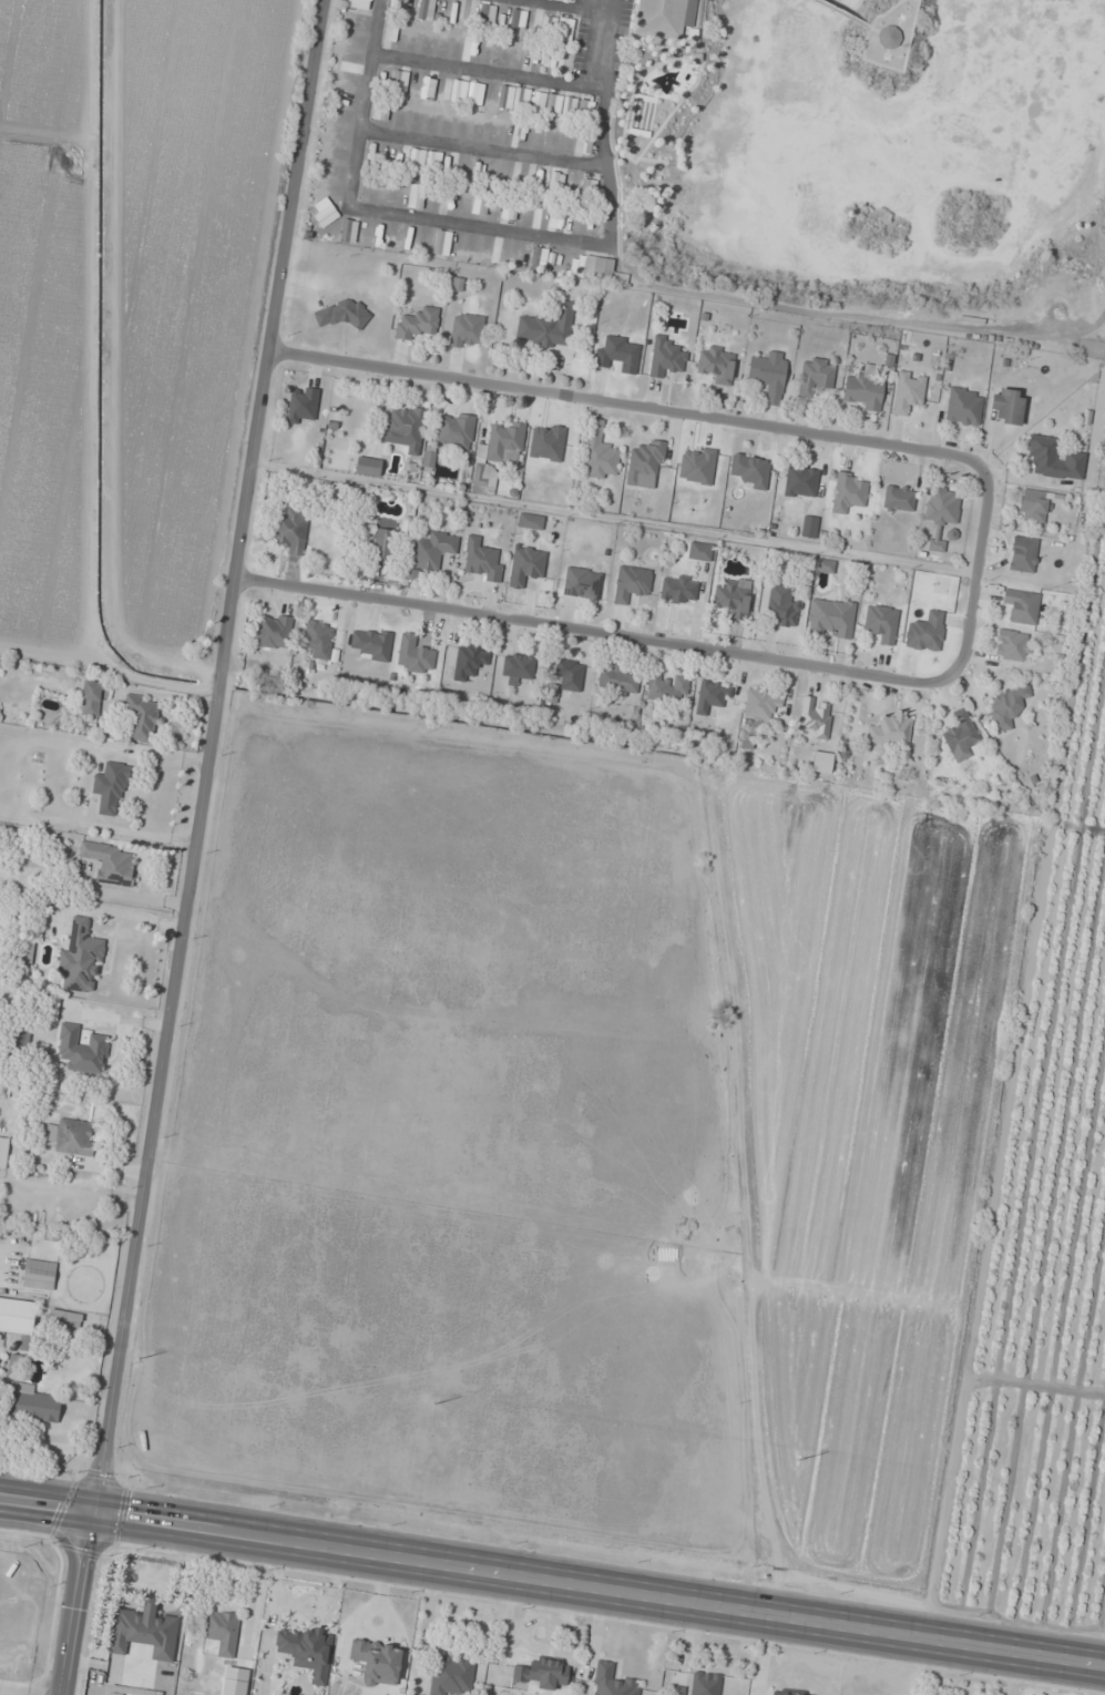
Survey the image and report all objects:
building: (359, 4)
building: (427, 6)
road: (565, 6)
building: (487, 14)
road: (846, 17)
building: (659, 18)
building: (350, 21)
building: (566, 30)
road: (657, 37)
building: (888, 37)
road: (663, 42)
building: (436, 44)
road: (623, 50)
building: (695, 57)
building: (348, 63)
road: (488, 73)
building: (411, 86)
building: (426, 88)
building: (459, 91)
building: (521, 99)
building: (338, 100)
road: (366, 104)
building: (380, 110)
building: (642, 112)
road: (603, 122)
building: (585, 141)
road: (483, 149)
building: (424, 162)
building: (447, 163)
building: (461, 167)
building: (477, 173)
building: (539, 180)
building: (555, 183)
building: (589, 190)
building: (416, 196)
building: (449, 200)
building: (480, 204)
building: (510, 208)
building: (326, 215)
road: (479, 227)
building: (442, 243)
building: (602, 272)
road: (709, 295)
building: (342, 314)
building: (417, 324)
building: (546, 328)
building: (465, 331)
building: (617, 354)
building: (666, 358)
building: (716, 363)
building: (769, 375)
building: (815, 376)
building: (862, 388)
building: (908, 392)
building: (303, 405)
building: (1006, 405)
building: (963, 407)
building: (405, 426)
building: (454, 431)
building: (505, 443)
building: (598, 453)
building: (428, 458)
building: (1054, 460)
building: (645, 461)
building: (367, 467)
building: (750, 470)
building: (482, 478)
building: (800, 482)
building: (848, 492)
building: (898, 498)
building: (942, 506)
building: (1035, 506)
building: (530, 521)
building: (809, 525)
building: (290, 530)
building: (382, 544)
building: (432, 550)
building: (699, 551)
building: (1023, 554)
building: (481, 559)
building: (526, 565)
building: (826, 565)
road: (973, 574)
building: (582, 583)
building: (631, 583)
building: (678, 589)
building: (731, 599)
building: (781, 606)
building: (1022, 606)
building: (830, 617)
building: (881, 623)
building: (274, 631)
building: (925, 631)
building: (318, 639)
building: (371, 643)
building: (1012, 645)
building: (413, 655)
building: (469, 661)
building: (516, 667)
building: (569, 674)
building: (617, 681)
building: (667, 688)
building: (712, 696)
building: (93, 700)
building: (763, 704)
building: (1007, 704)
building: (142, 717)
building: (816, 717)
building: (890, 731)
building: (960, 737)
road: (205, 757)
building: (821, 762)
building: (110, 785)
building: (109, 861)
building: (27, 951)
building: (81, 959)
building: (81, 1049)
building: (71, 1136)
building: (3, 1152)
building: (39, 1275)
building: (64, 1319)
building: (17, 1321)
building: (30, 1403)
traffic signals: (95, 1515)
road: (552, 1587)
road: (81, 1605)
building: (143, 1631)
building: (222, 1631)
building: (307, 1651)
building: (377, 1661)
building: (539, 1673)
building: (450, 1675)
building: (612, 1681)
building: (705, 1683)
building: (789, 1693)

